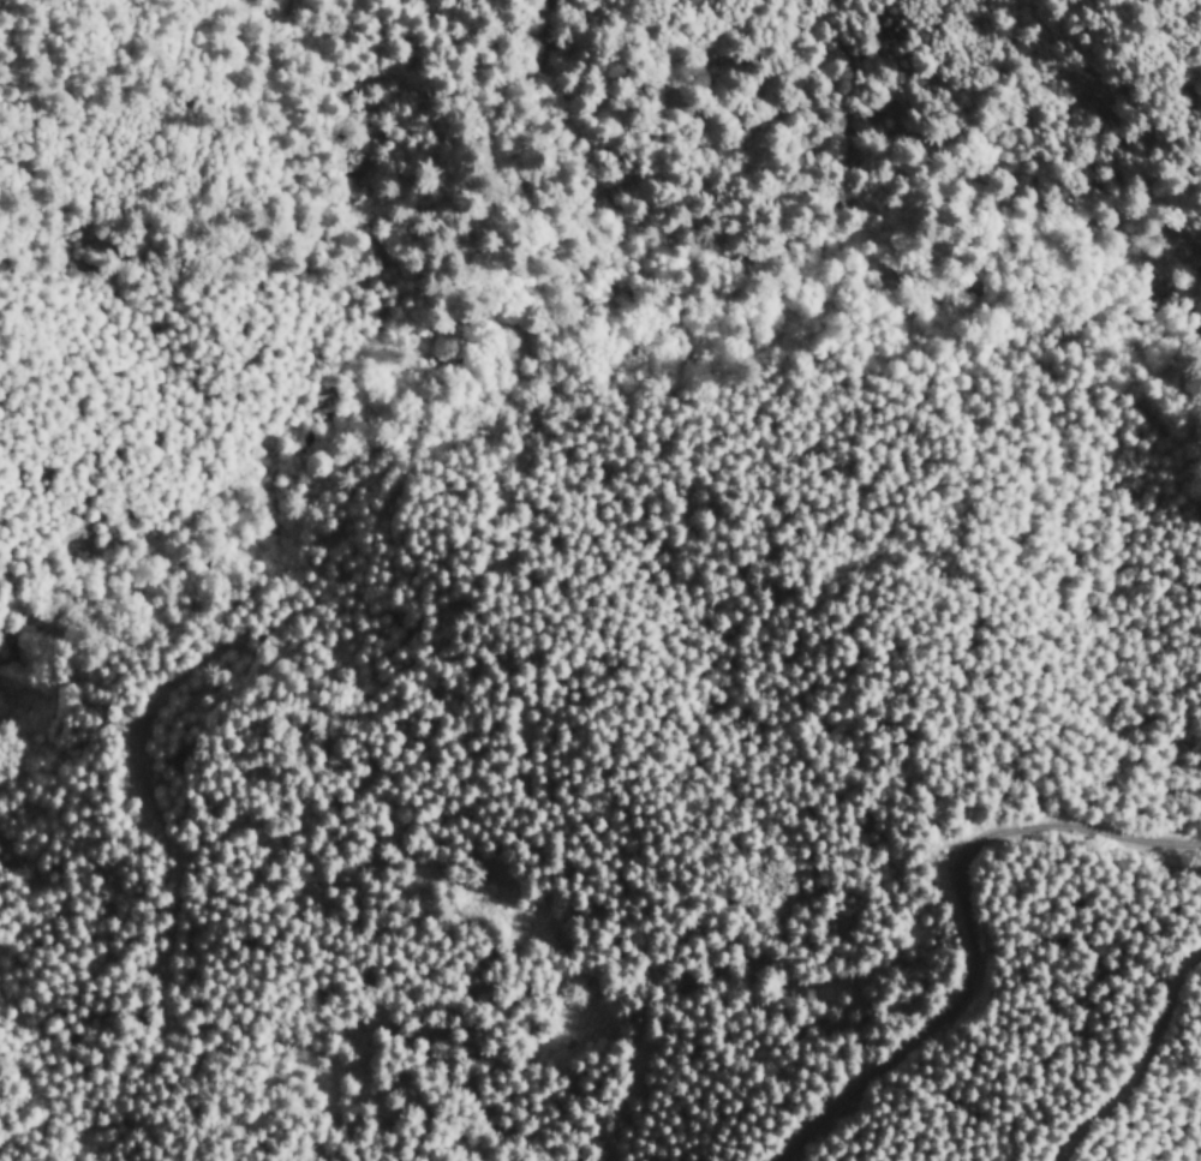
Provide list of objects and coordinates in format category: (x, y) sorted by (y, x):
road: (991, 976)

